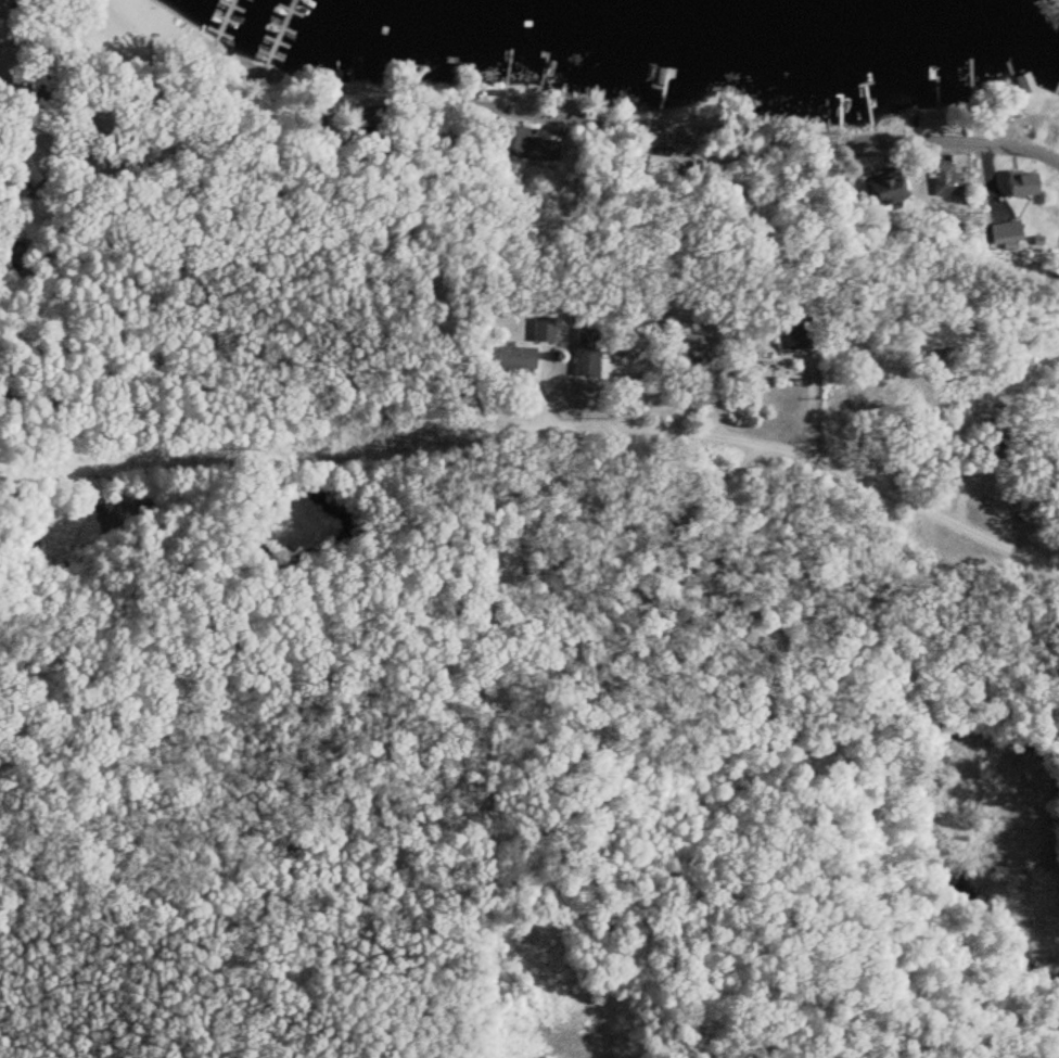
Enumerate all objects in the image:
road: (31, 25)
building: (1022, 84)
road: (537, 107)
building: (1022, 184)
building: (947, 189)
building: (702, 347)
building: (589, 353)
building: (789, 374)
road: (798, 418)

